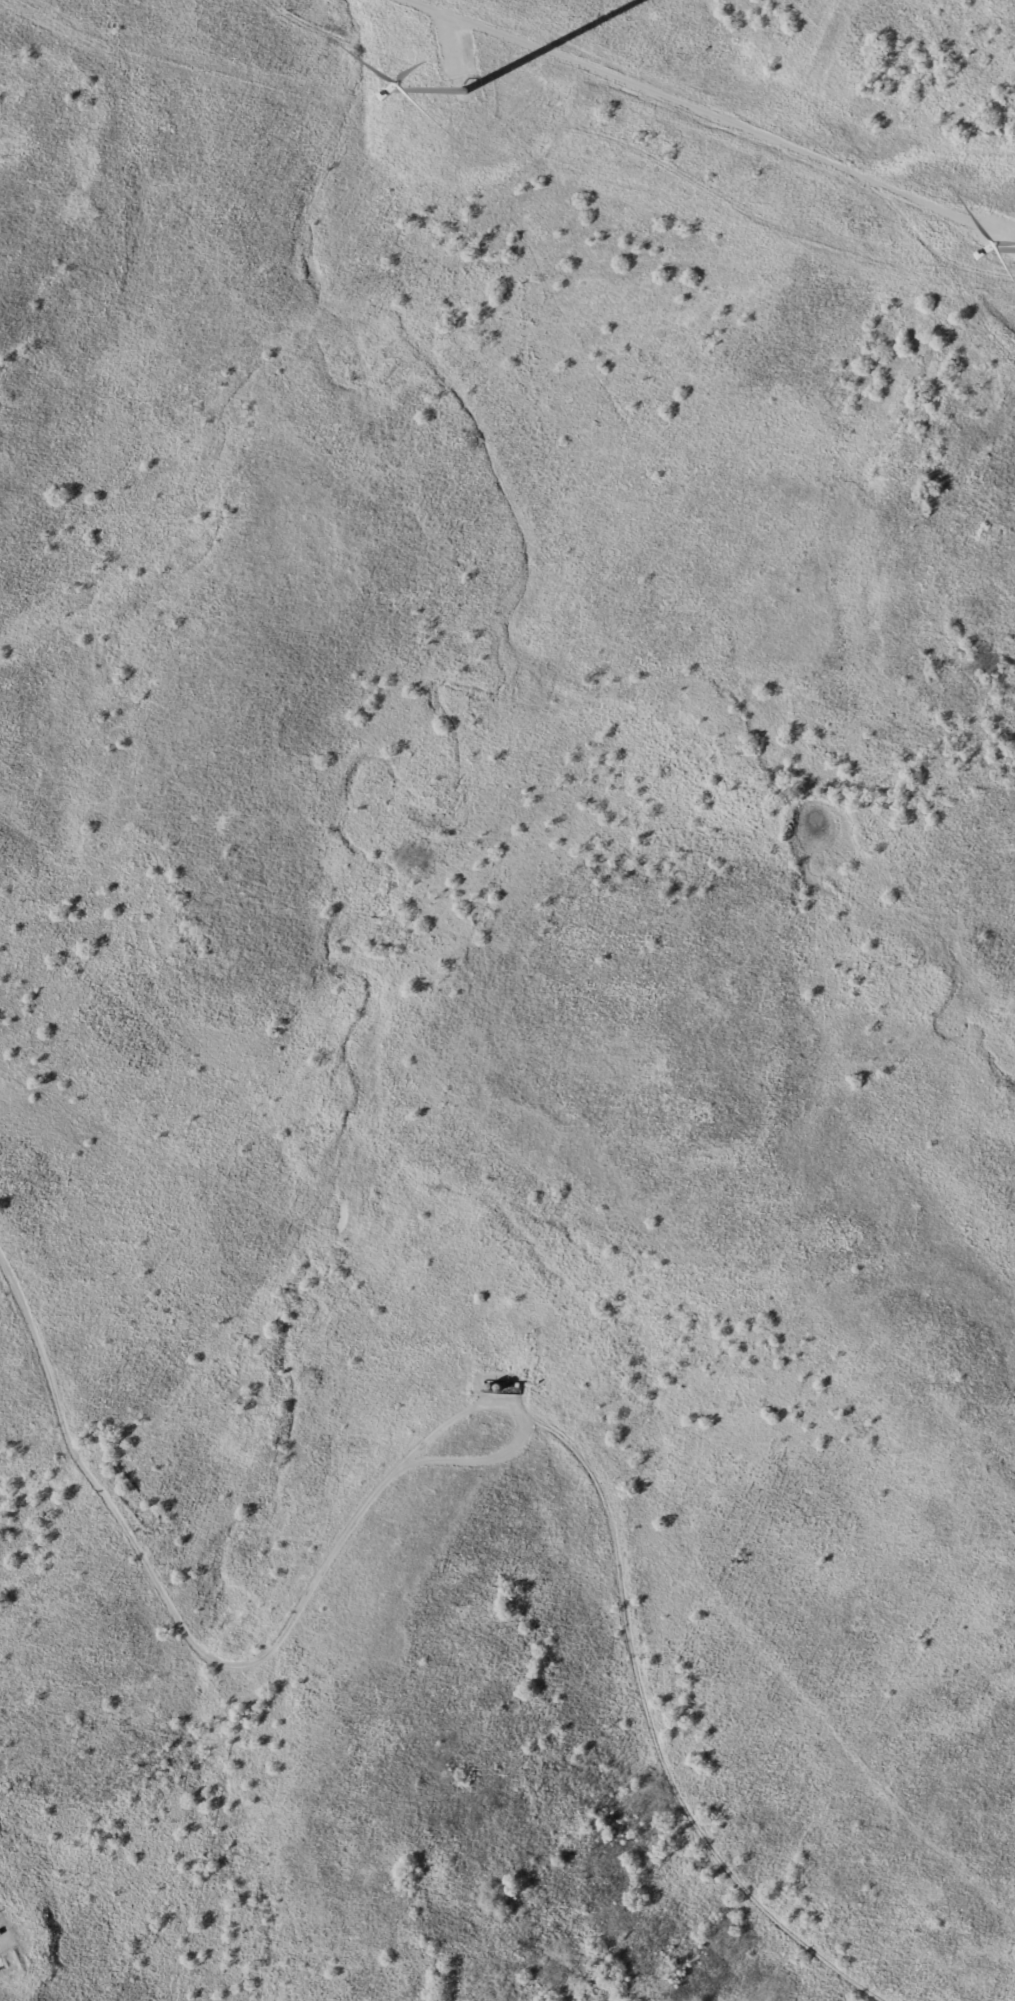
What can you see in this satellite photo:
wind turbine: (464, 90)
road: (719, 117)
road: (13, 1271)
road: (226, 1657)
road: (15, 1922)

